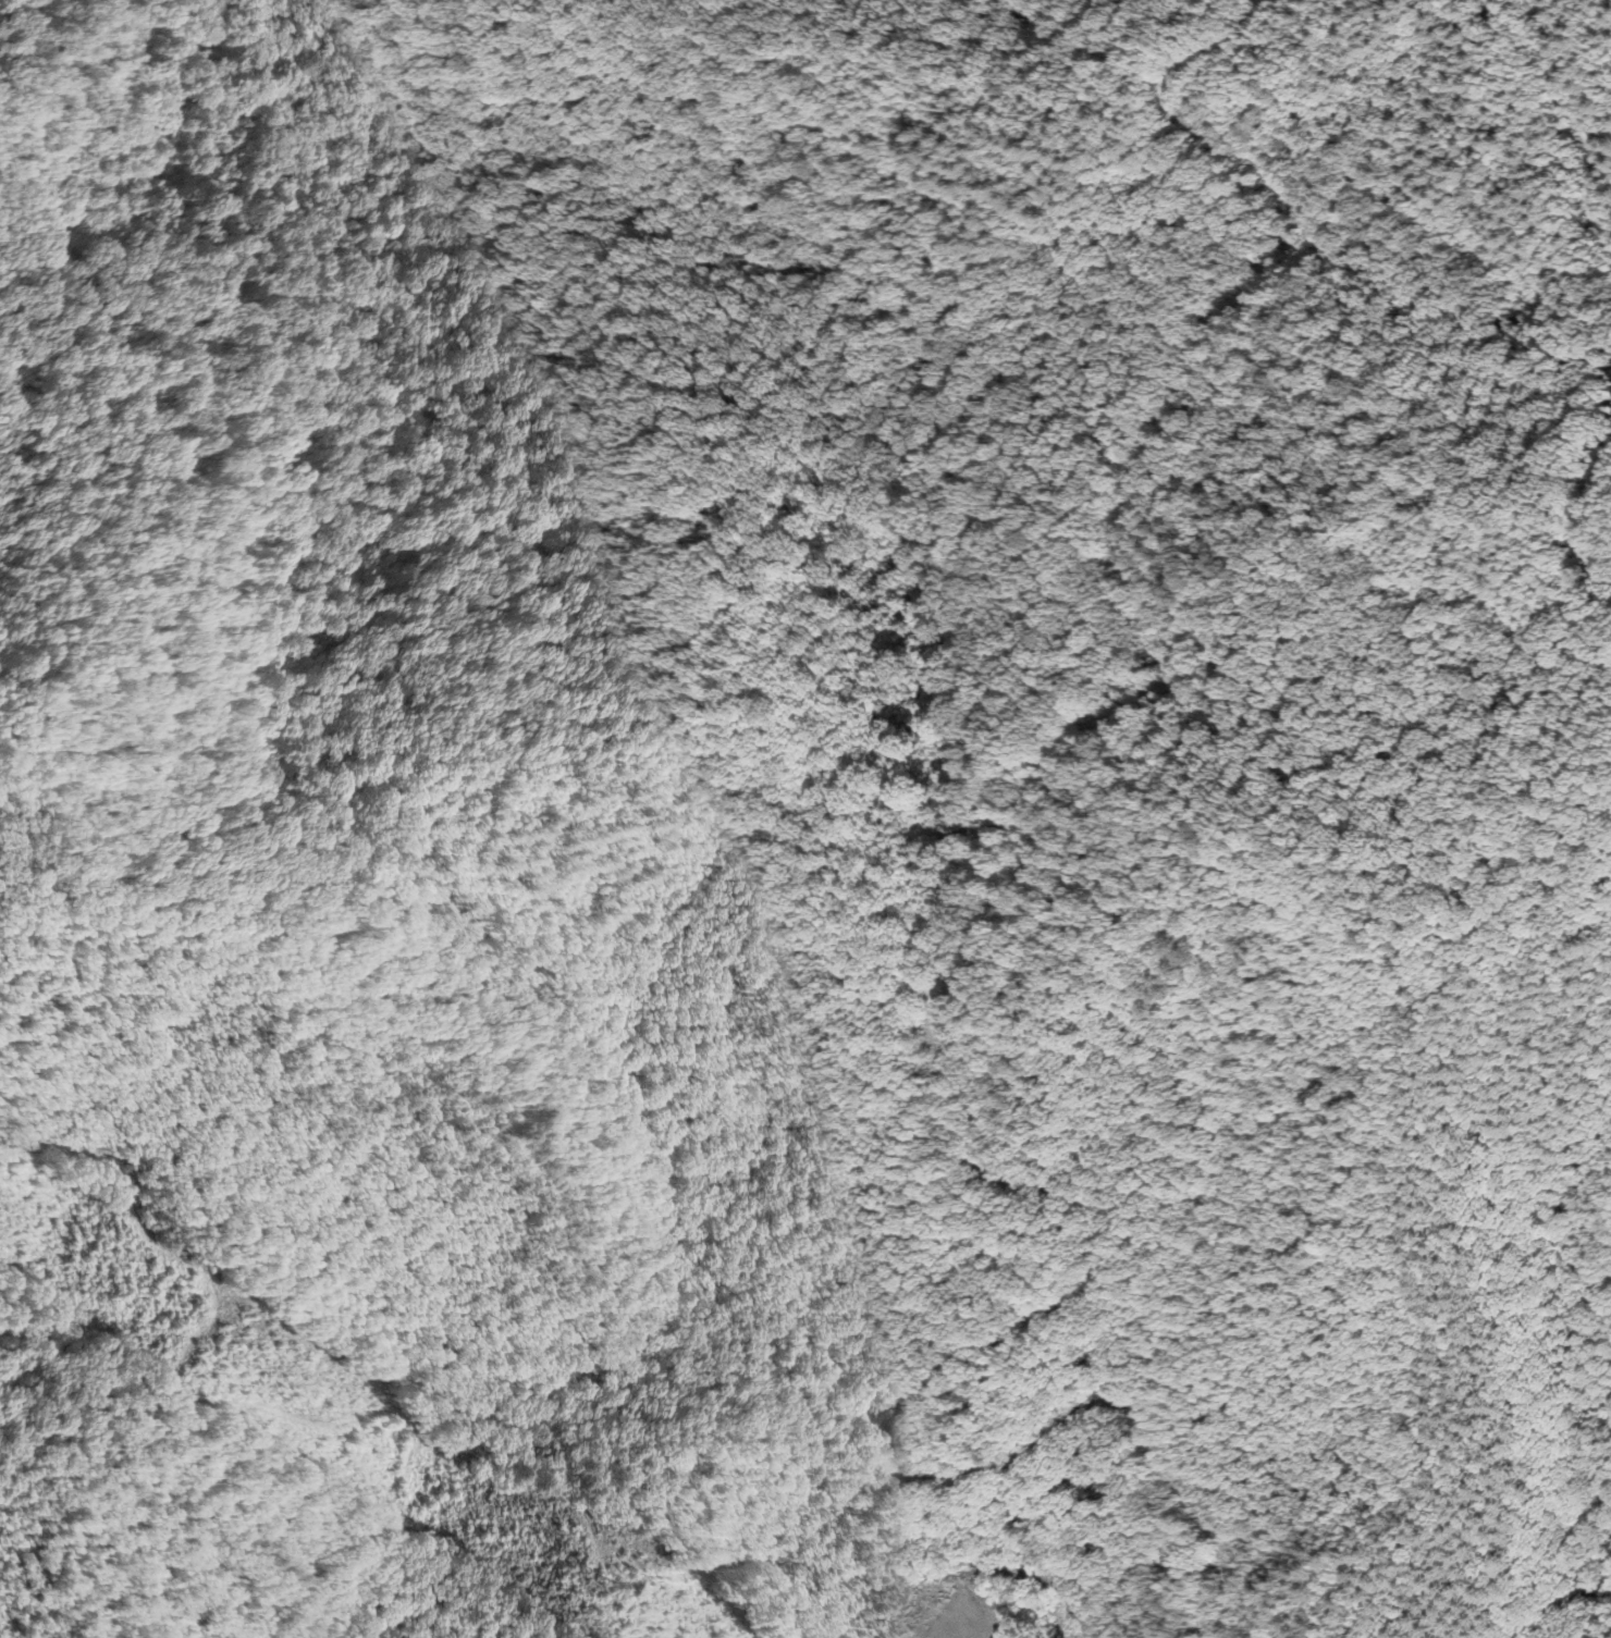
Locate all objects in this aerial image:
power tower: (581, 1582)

